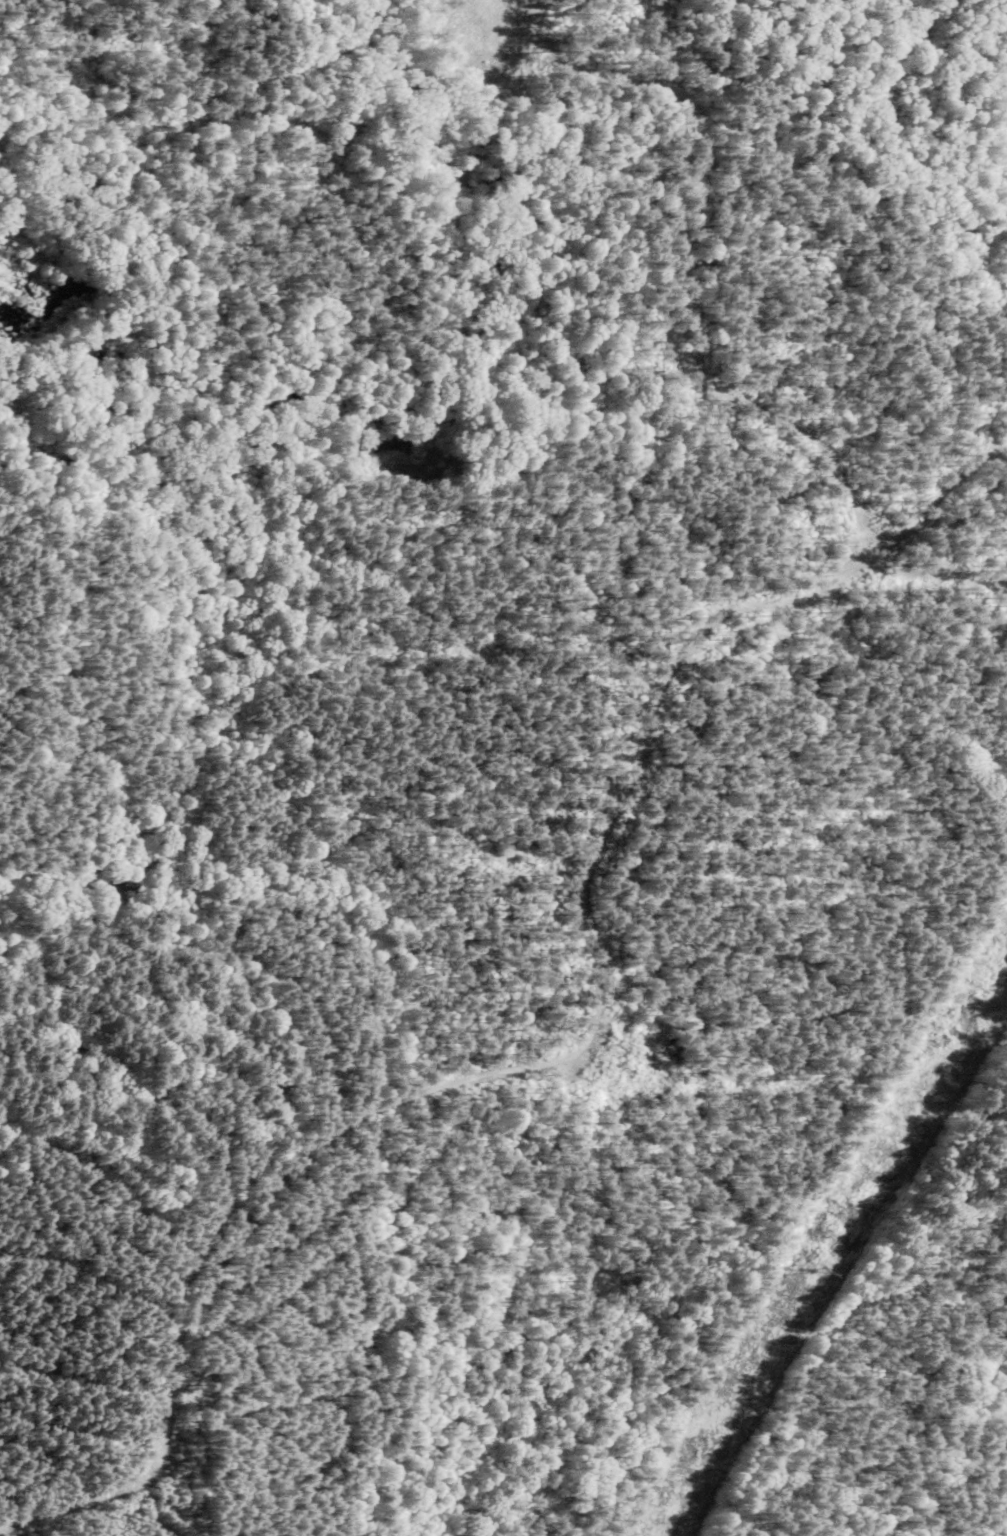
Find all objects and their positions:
power tower: (815, 1272)

